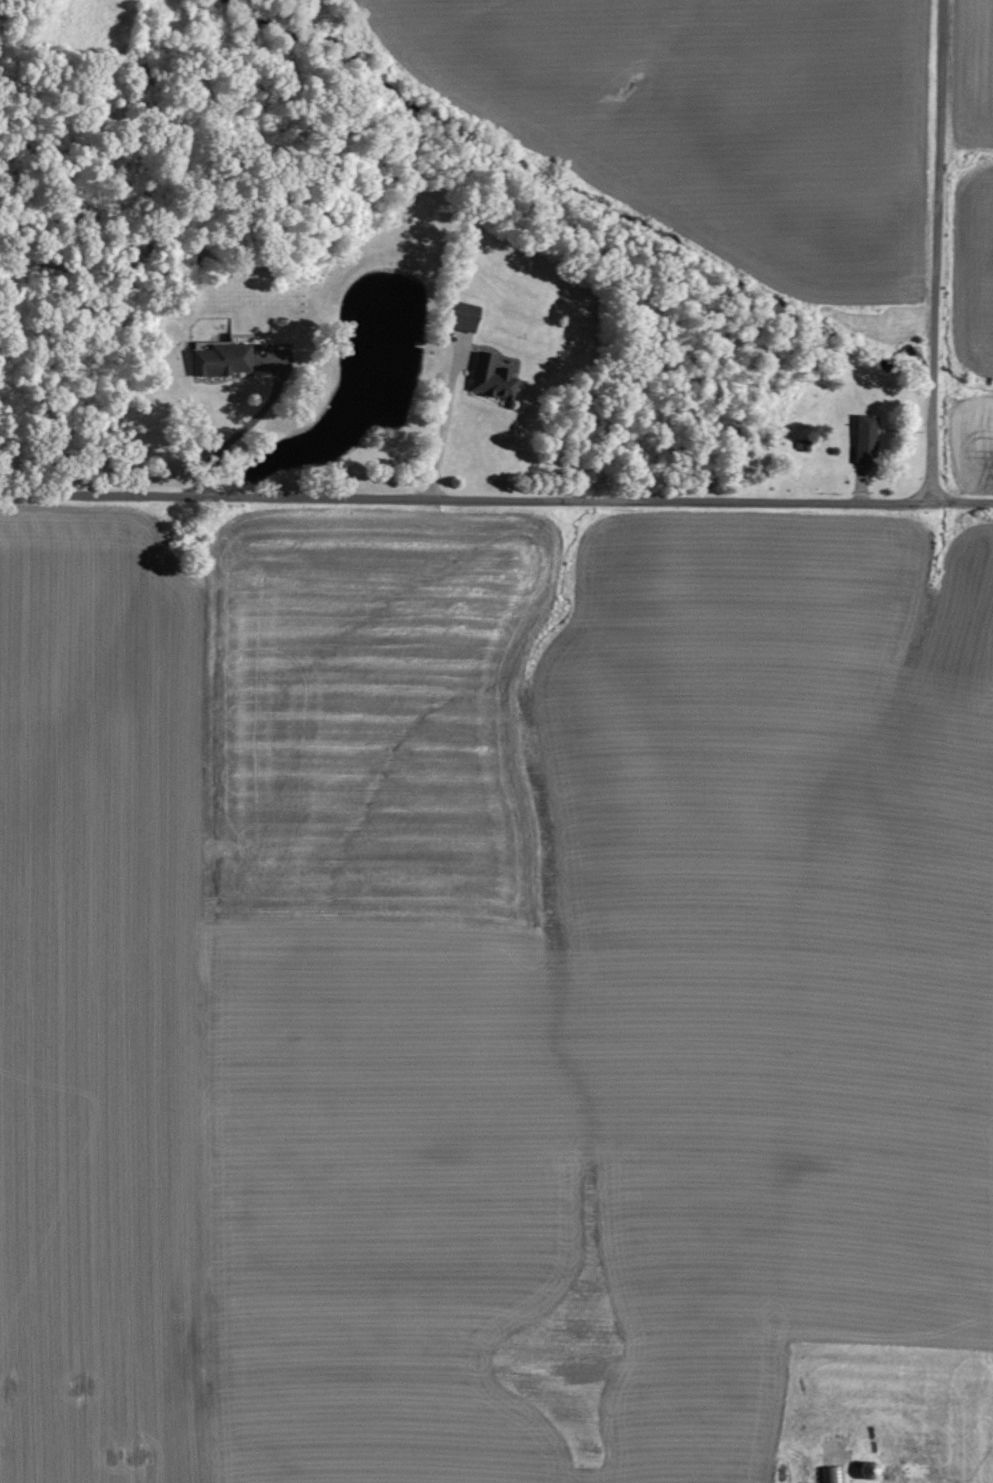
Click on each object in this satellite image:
road: (934, 250)
building: (459, 315)
building: (220, 359)
building: (489, 377)
road: (443, 417)
road: (245, 425)
building: (863, 437)
road: (496, 497)
building: (832, 1473)

